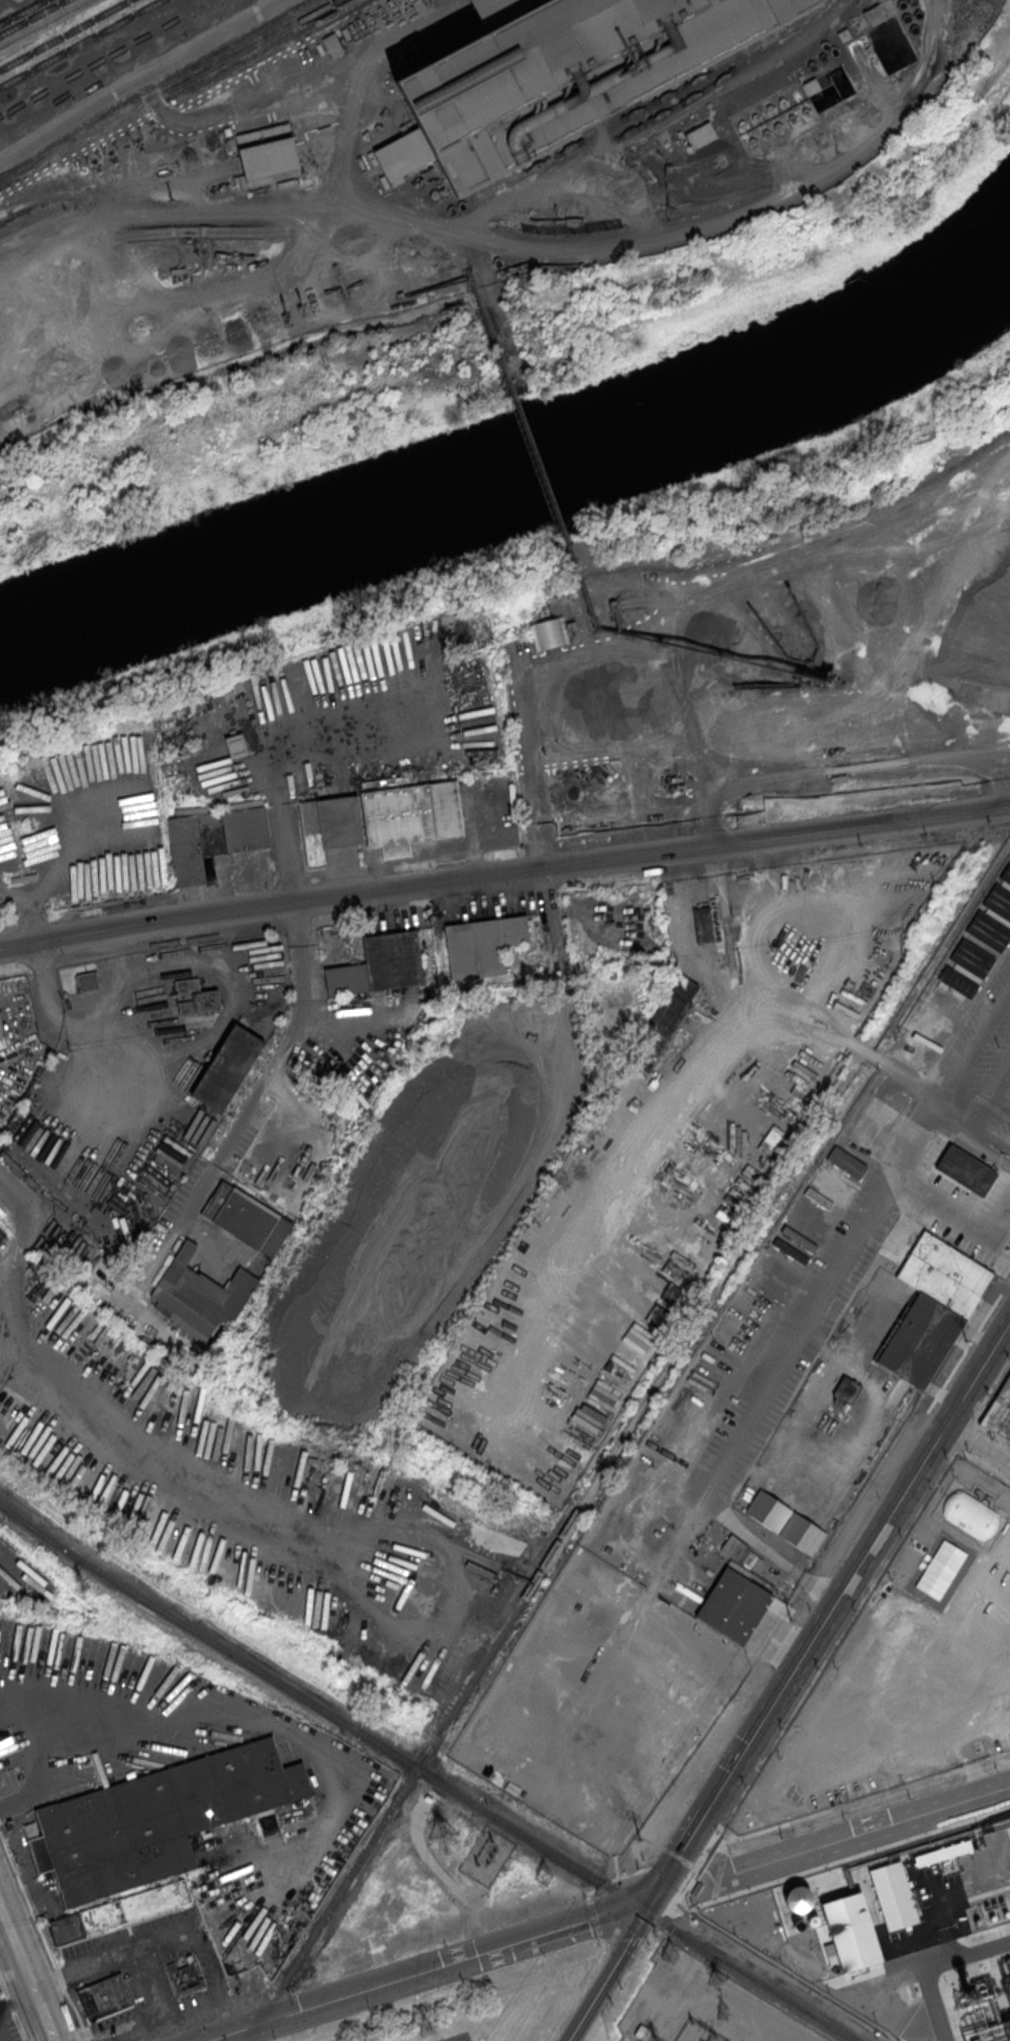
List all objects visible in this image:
road: (264, 7)
building: (879, 12)
railway: (32, 17)
railway: (42, 23)
railway: (64, 34)
railway: (80, 43)
railway: (361, 49)
building: (557, 75)
road: (139, 76)
building: (811, 87)
railway: (189, 95)
railway: (667, 98)
road: (358, 113)
building: (772, 120)
building: (700, 136)
building: (261, 153)
road: (519, 246)
road: (12, 249)
river: (515, 467)
park: (539, 546)
building: (460, 670)
road: (521, 735)
building: (590, 796)
building: (412, 814)
road: (729, 830)
building: (213, 838)
road: (538, 859)
road: (287, 867)
road: (504, 873)
building: (1003, 884)
building: (996, 912)
building: (703, 924)
building: (481, 945)
building: (971, 959)
building: (392, 960)
road: (38, 967)
building: (347, 978)
building: (87, 980)
building: (194, 996)
building: (937, 1014)
building: (661, 1023)
building: (917, 1025)
building: (1, 1031)
road: (802, 1033)
building: (910, 1037)
road: (968, 1037)
road: (866, 1054)
building: (227, 1068)
road: (956, 1115)
road: (240, 1119)
road: (553, 1123)
road: (1001, 1128)
building: (846, 1161)
building: (965, 1180)
building: (832, 1184)
road: (16, 1194)
building: (246, 1218)
building: (198, 1295)
road: (821, 1306)
building: (931, 1306)
power tower: (965, 1340)
building: (844, 1389)
building: (998, 1414)
road: (977, 1447)
building: (970, 1513)
road: (777, 1558)
road: (858, 1564)
building: (942, 1565)
power tower: (81, 1589)
building: (734, 1606)
power tower: (789, 1621)
railway: (489, 1649)
road: (220, 1708)
railway: (426, 1774)
building: (155, 1818)
power tower: (444, 1835)
road: (863, 1836)
power tower: (639, 1839)
building: (942, 1852)
road: (680, 1854)
power substation: (486, 1855)
power tower: (544, 1878)
building: (893, 1895)
building: (798, 1897)
storage tank: (798, 1897)
traffic signals: (651, 1902)
building: (120, 1911)
road: (594, 1916)
road: (472, 1918)
building: (810, 1919)
storage tank: (810, 1919)
building: (798, 1924)
storage tank: (798, 1924)
building: (851, 1931)
road: (43, 1938)
road: (15, 1945)
road: (207, 1946)
road: (126, 1952)
power tower: (670, 1958)
road: (433, 1971)
road: (611, 1972)
building: (185, 1977)
power tower: (719, 1980)
road: (577, 1988)
building: (104, 1997)
road: (461, 1998)
road: (14, 2005)
power substation: (700, 2005)
road: (15, 2006)
road: (44, 2011)
power tower: (723, 2013)
power tower: (427, 2027)
road: (113, 2036)
road: (583, 2036)
power substation: (456, 2037)
power tower: (655, 2039)

